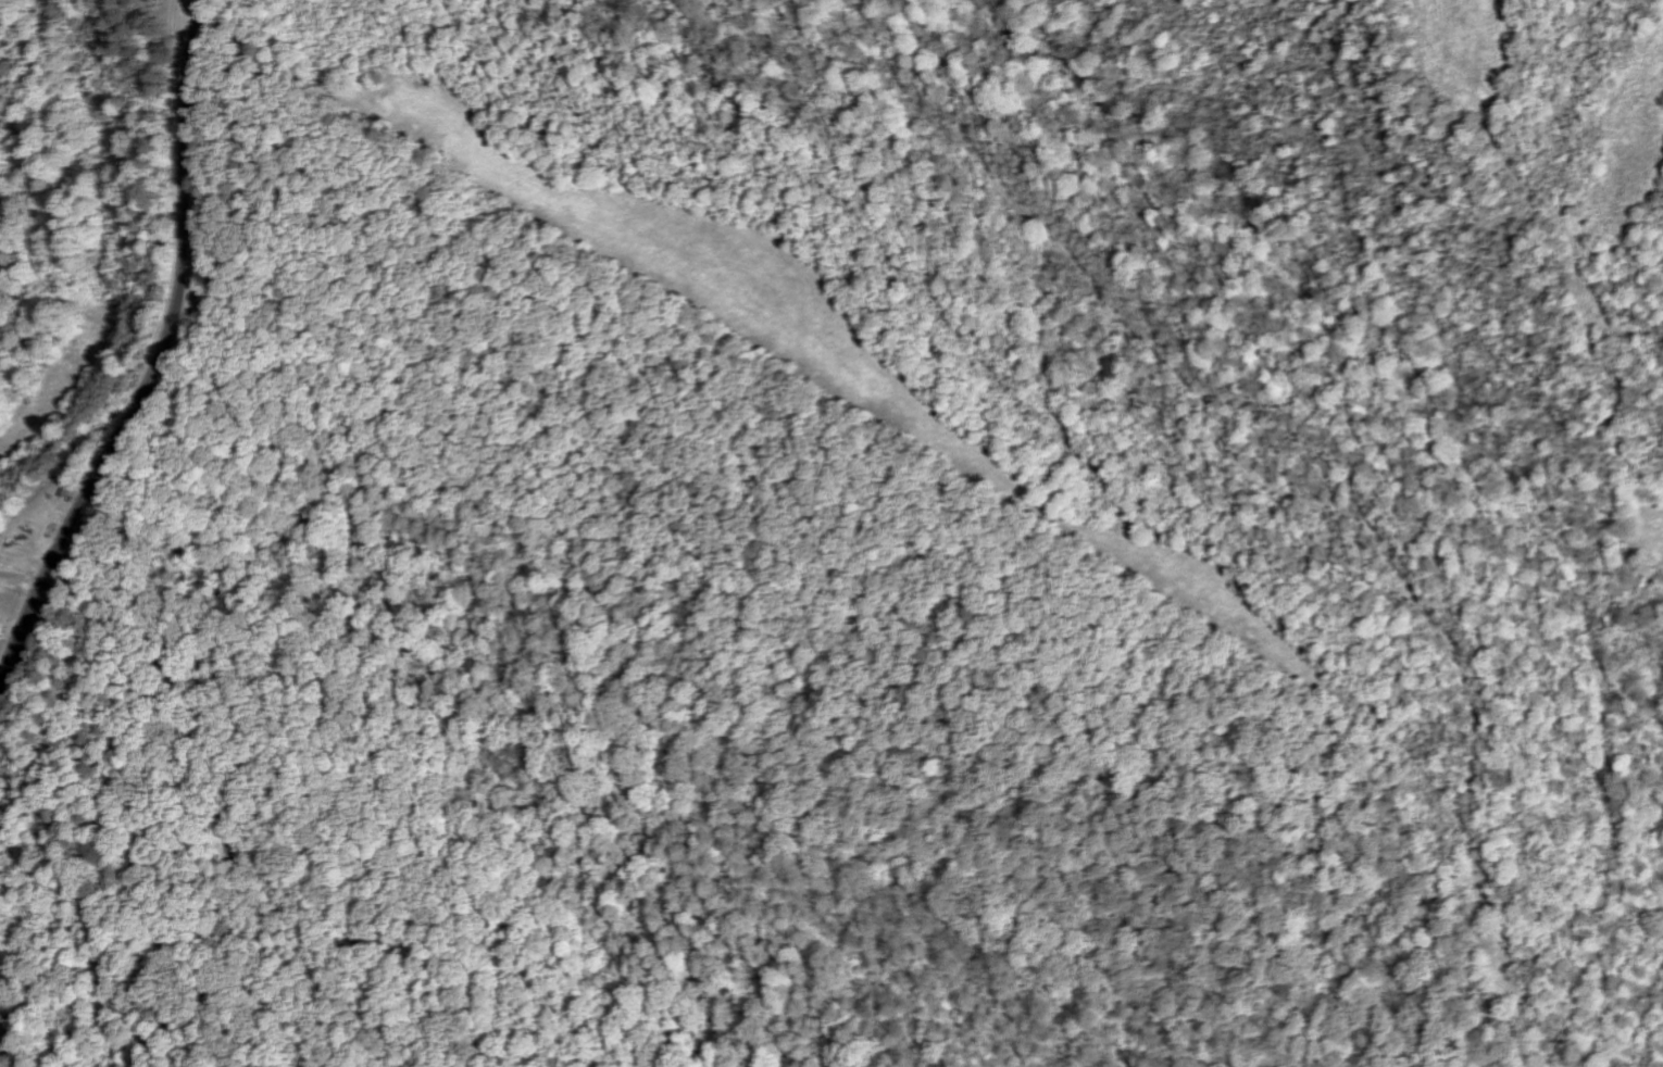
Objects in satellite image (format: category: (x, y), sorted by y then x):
road: (162, 363)

